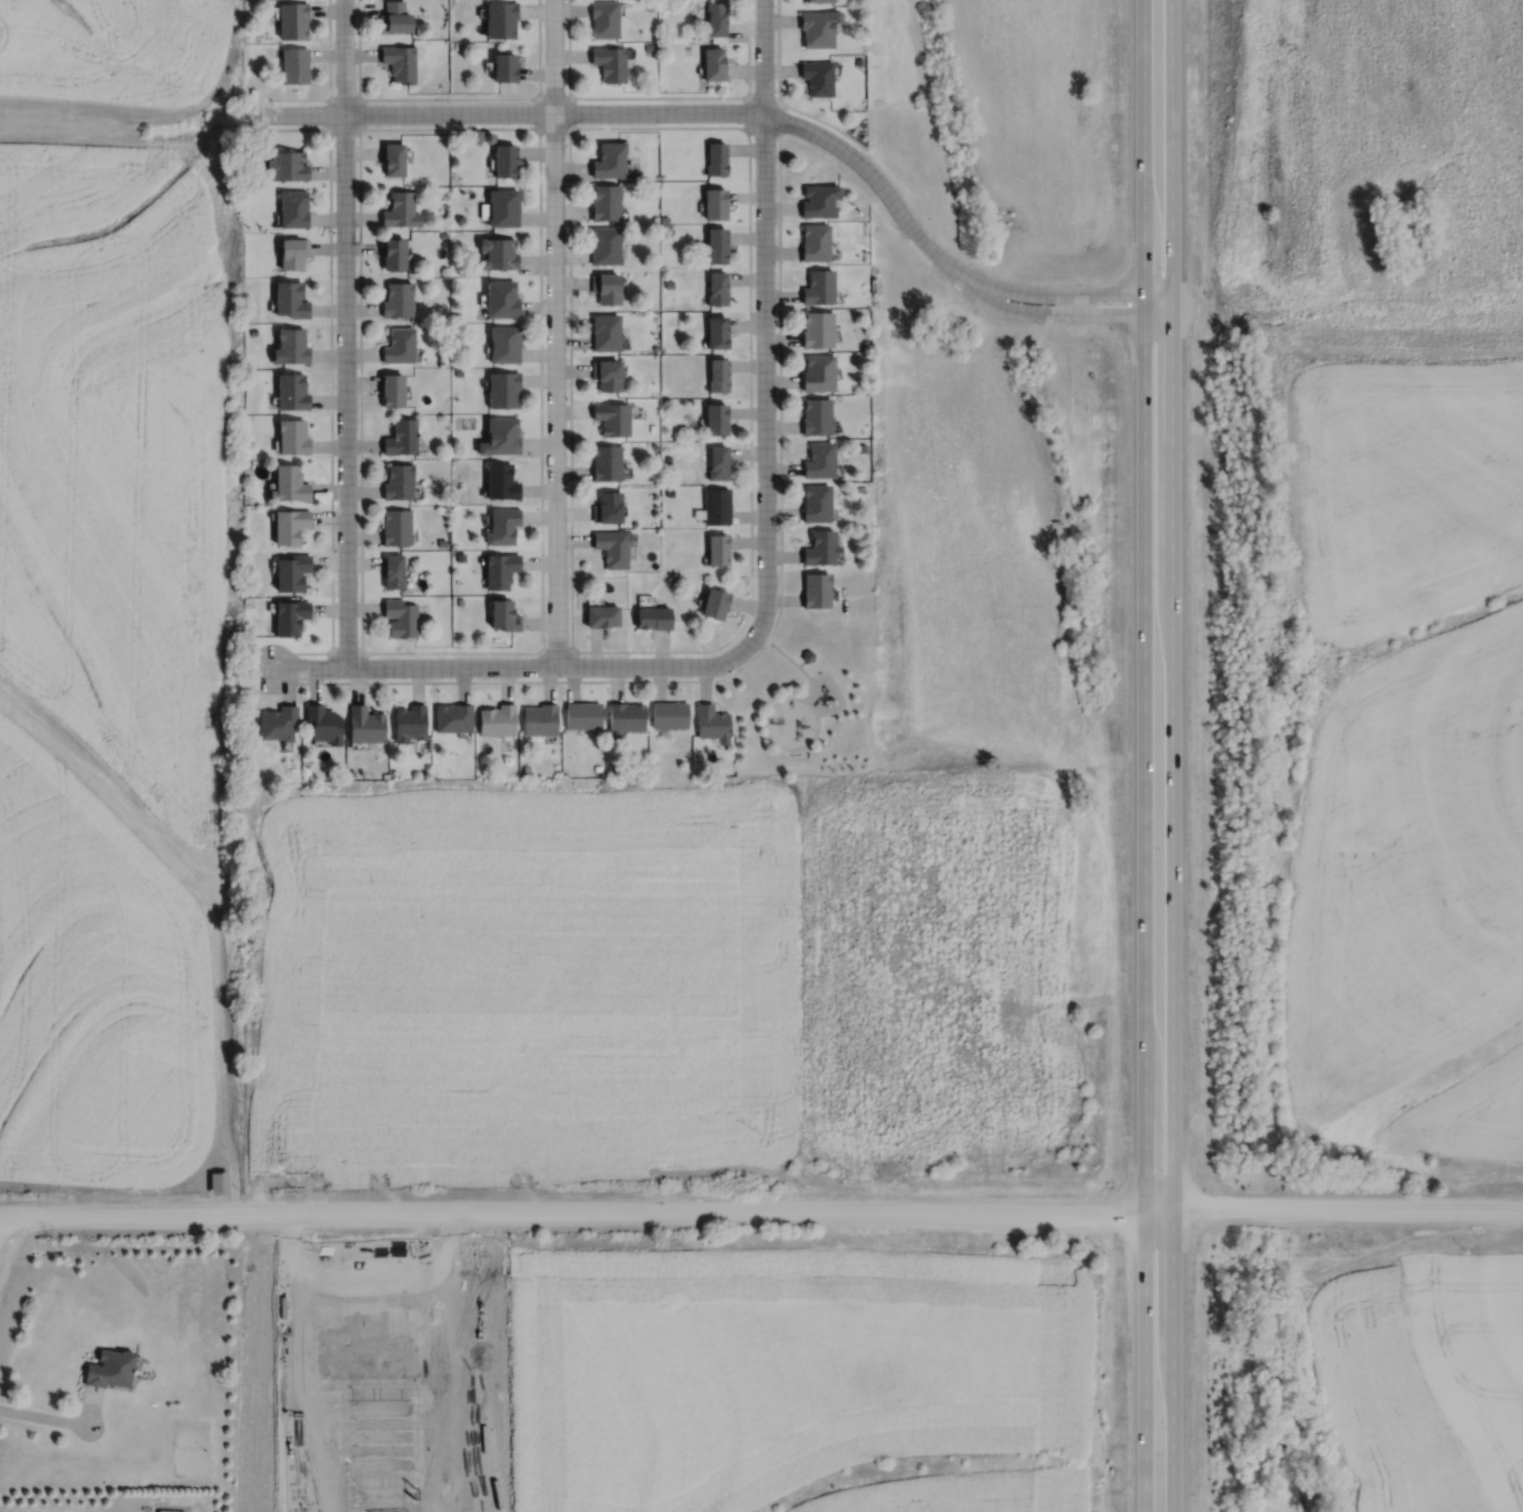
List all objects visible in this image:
building: (819, 1)
building: (649, 6)
building: (247, 11)
building: (394, 17)
building: (603, 19)
building: (716, 19)
building: (501, 20)
building: (292, 21)
building: (817, 28)
building: (667, 32)
building: (457, 45)
building: (649, 48)
building: (858, 61)
building: (399, 62)
building: (609, 63)
building: (713, 64)
building: (293, 65)
road: (749, 65)
building: (504, 68)
road: (329, 75)
building: (817, 78)
road: (655, 96)
road: (343, 97)
road: (464, 97)
road: (762, 97)
road: (636, 112)
road: (826, 122)
road: (553, 129)
road: (762, 131)
building: (394, 157)
building: (718, 157)
building: (506, 158)
building: (609, 159)
road: (833, 161)
building: (287, 164)
building: (820, 199)
building: (604, 201)
building: (716, 202)
building: (294, 207)
building: (503, 207)
building: (401, 208)
building: (655, 218)
building: (664, 218)
building: (444, 234)
building: (815, 241)
building: (604, 244)
building: (718, 244)
building: (293, 252)
building: (395, 252)
building: (499, 252)
road: (540, 270)
building: (669, 283)
building: (605, 286)
building: (819, 286)
building: (719, 287)
road: (1059, 293)
building: (291, 298)
building: (502, 298)
building: (398, 299)
road: (1053, 313)
road: (764, 317)
road: (360, 325)
building: (817, 328)
building: (606, 331)
building: (719, 331)
road: (345, 332)
road: (556, 332)
building: (505, 343)
building: (866, 343)
building: (291, 345)
building: (401, 345)
building: (656, 347)
building: (442, 359)
road: (330, 360)
building: (459, 360)
building: (459, 372)
building: (820, 372)
building: (607, 374)
building: (720, 375)
building: (504, 388)
building: (393, 389)
building: (292, 391)
building: (818, 416)
building: (613, 418)
building: (718, 419)
building: (652, 427)
building: (293, 436)
building: (502, 436)
building: (402, 437)
building: (655, 446)
building: (862, 447)
building: (821, 460)
building: (607, 462)
building: (720, 462)
building: (248, 465)
building: (399, 481)
building: (502, 482)
building: (290, 484)
building: (861, 489)
building: (670, 492)
building: (457, 498)
building: (818, 503)
building: (718, 506)
building: (608, 508)
building: (290, 526)
building: (504, 526)
building: (397, 527)
building: (442, 542)
building: (614, 547)
building: (823, 548)
building: (719, 550)
building: (860, 560)
building: (653, 565)
building: (501, 570)
building: (292, 572)
building: (394, 572)
road: (780, 582)
building: (818, 590)
building: (461, 601)
building: (716, 604)
building: (505, 616)
building: (290, 617)
building: (603, 617)
building: (401, 618)
building: (654, 619)
road: (762, 636)
road: (571, 642)
road: (435, 651)
building: (807, 653)
road: (786, 655)
road: (520, 666)
road: (835, 685)
road: (807, 688)
park: (806, 696)
building: (668, 712)
building: (585, 716)
building: (627, 717)
building: (454, 719)
building: (541, 720)
building: (498, 721)
building: (711, 721)
building: (410, 723)
building: (278, 724)
building: (324, 725)
building: (366, 726)
road: (766, 731)
road: (1172, 755)
road: (1145, 756)
building: (652, 759)
building: (527, 768)
building: (598, 768)
building: (612, 768)
building: (307, 770)
building: (351, 774)
building: (362, 774)
building: (386, 776)
building: (218, 1181)
road: (761, 1212)
building: (108, 1369)
road: (60, 1419)
building: (170, 1510)
road: (3, 1511)

